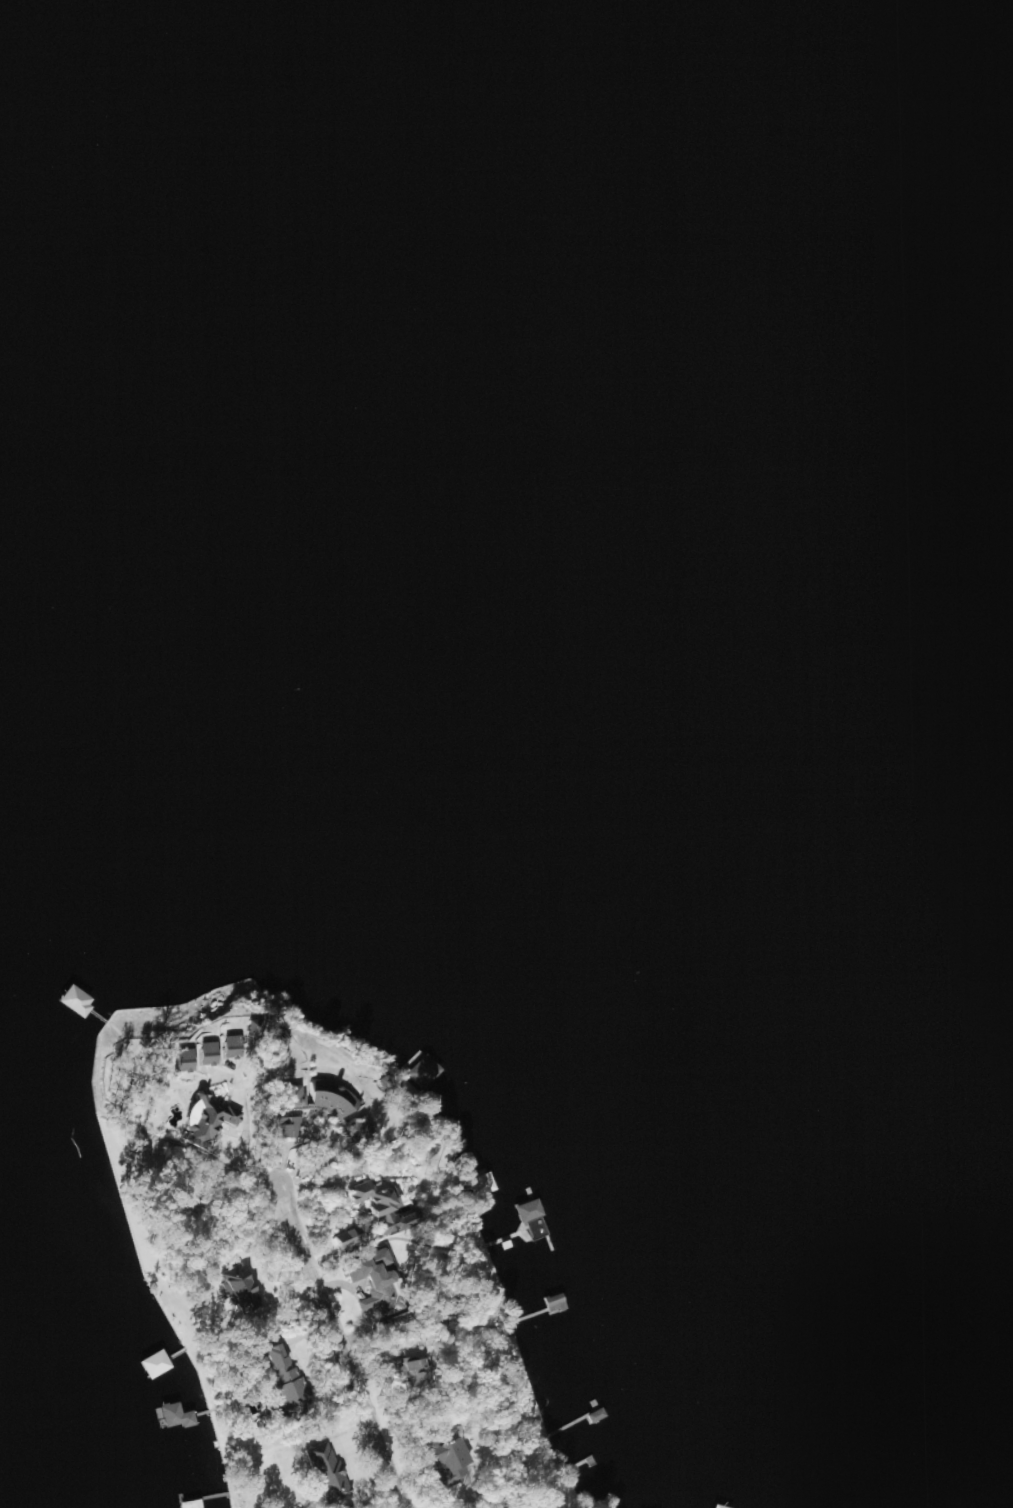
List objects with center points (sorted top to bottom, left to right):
building: (113, 378)
building: (421, 1073)
building: (316, 1106)
building: (281, 1128)
building: (478, 1185)
building: (524, 1212)
building: (370, 1286)
building: (235, 1289)
road: (348, 1300)
building: (550, 1303)
building: (285, 1388)
building: (172, 1418)
building: (443, 1463)
building: (326, 1475)
building: (714, 1507)

